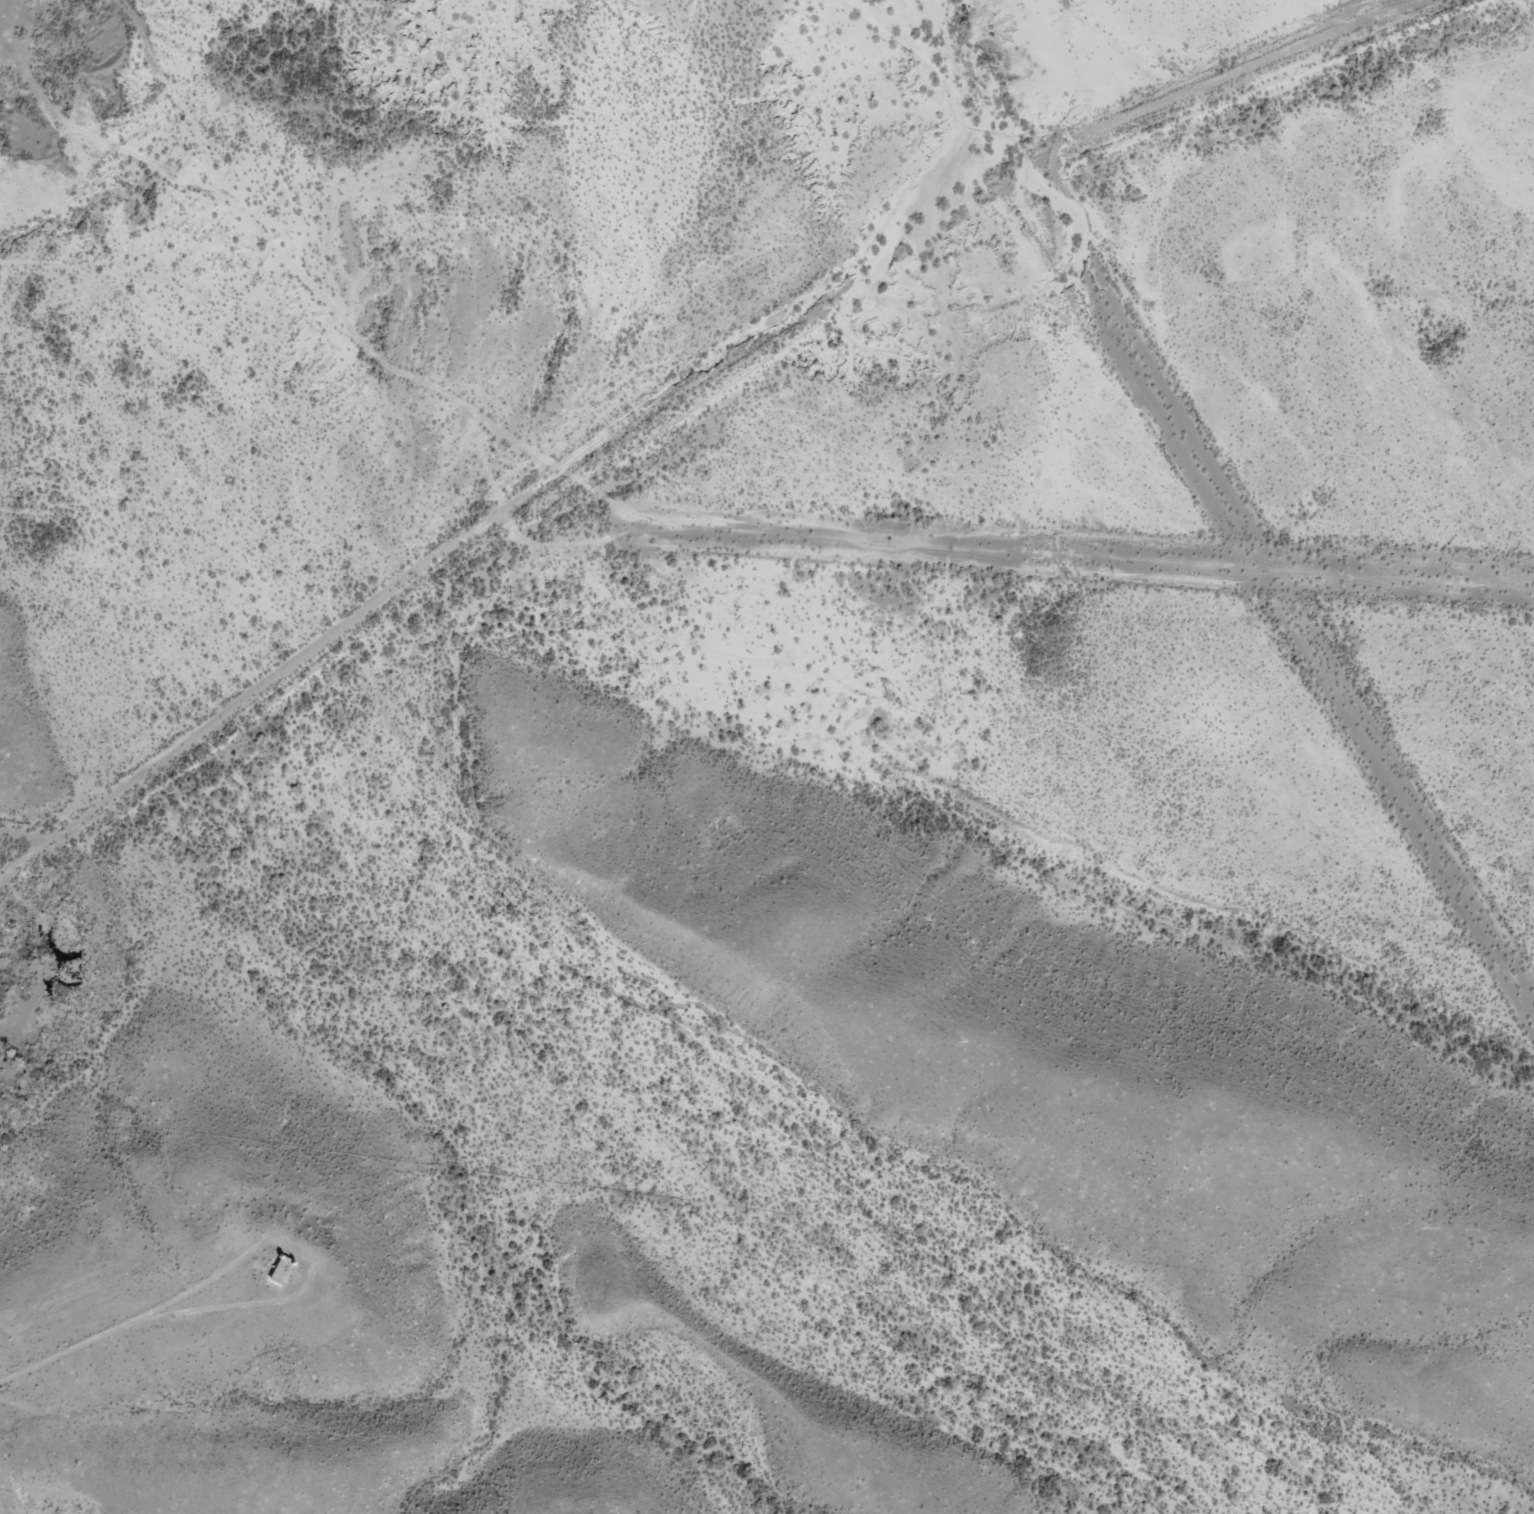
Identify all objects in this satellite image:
road: (680, 390)

